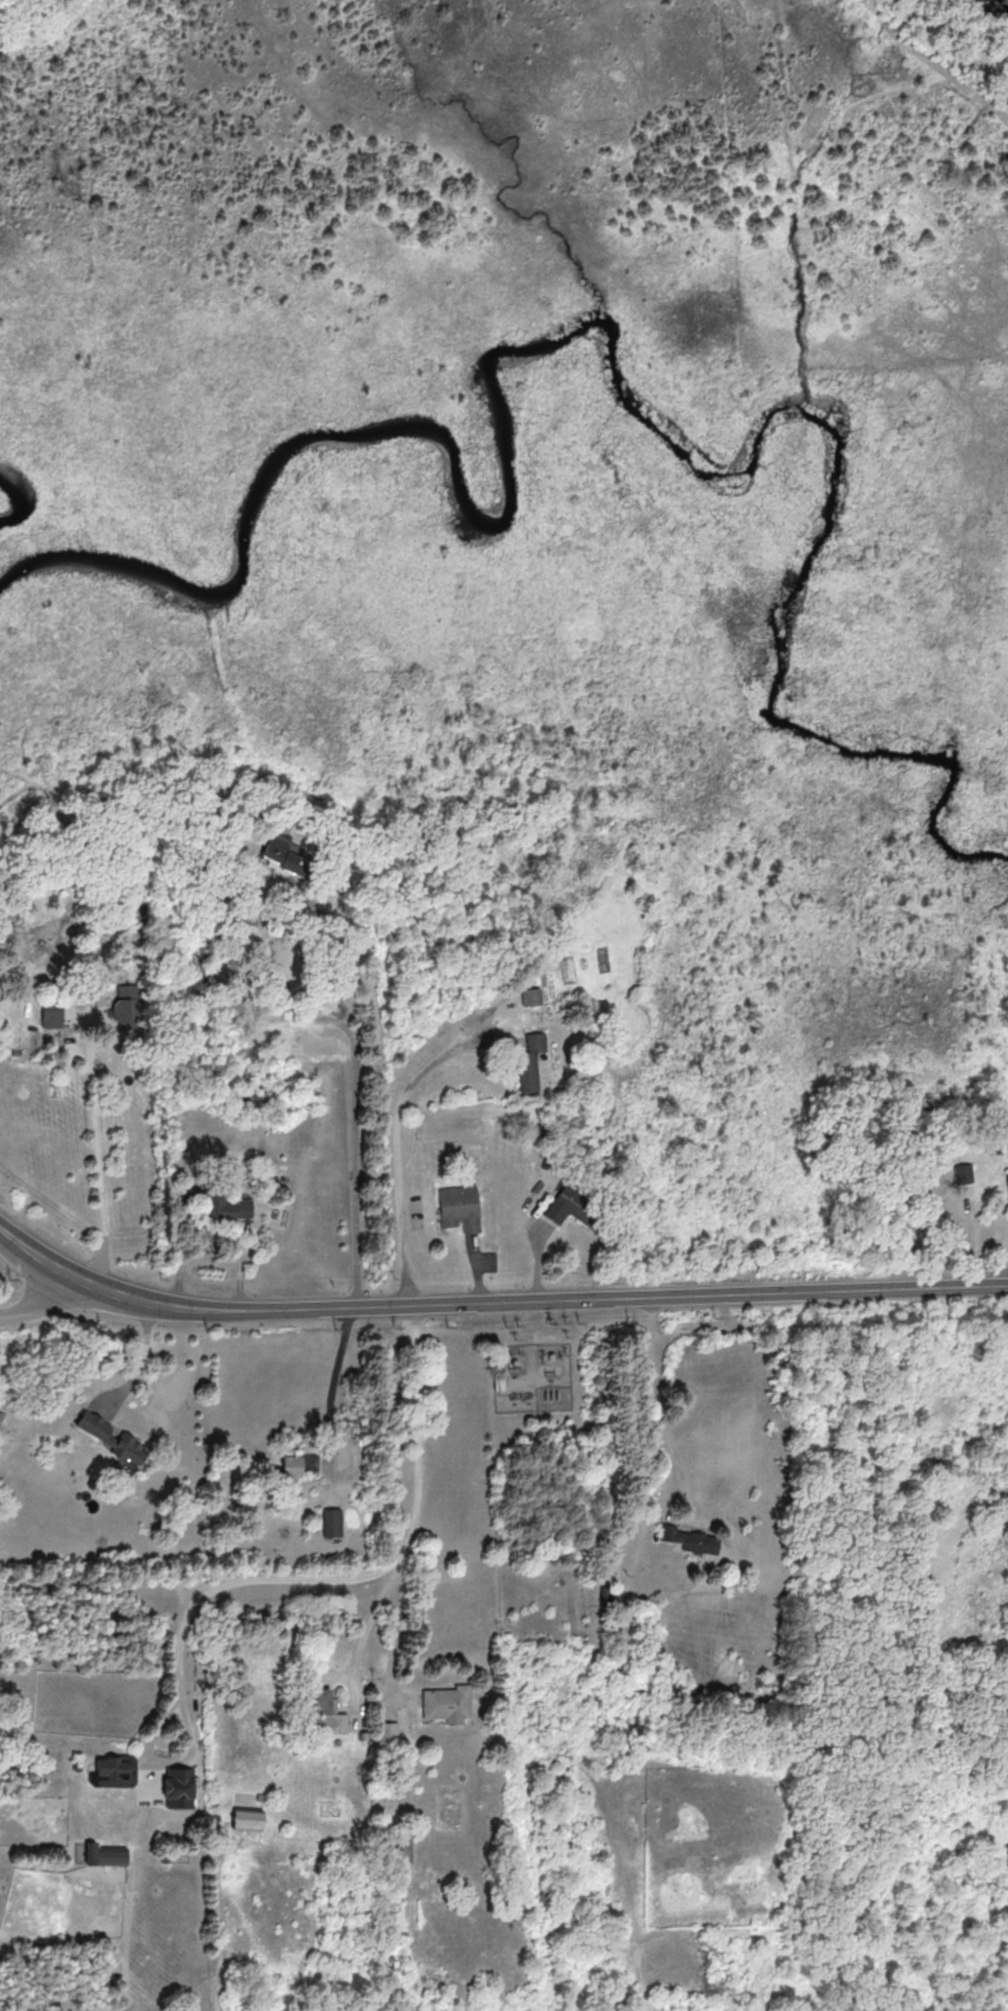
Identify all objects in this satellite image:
building: (280, 853)
road: (261, 919)
building: (530, 996)
building: (128, 1005)
building: (51, 1014)
building: (529, 1061)
road: (398, 1149)
road: (100, 1164)
building: (963, 1173)
road: (356, 1176)
building: (1007, 1178)
building: (562, 1203)
building: (224, 1206)
building: (458, 1207)
road: (212, 1232)
road: (841, 1290)
road: (35, 1310)
road: (327, 1311)
road: (530, 1332)
road: (140, 1367)
power substation: (535, 1379)
road: (335, 1386)
road: (657, 1401)
building: (0, 1423)
building: (111, 1436)
building: (296, 1465)
building: (332, 1522)
building: (689, 1539)
road: (368, 1575)
building: (607, 1597)
road: (402, 1620)
road: (372, 1622)
building: (447, 1703)
building: (327, 1710)
building: (386, 1732)
building: (114, 1766)
building: (178, 1788)
building: (246, 1819)
building: (403, 1849)
building: (107, 1855)

